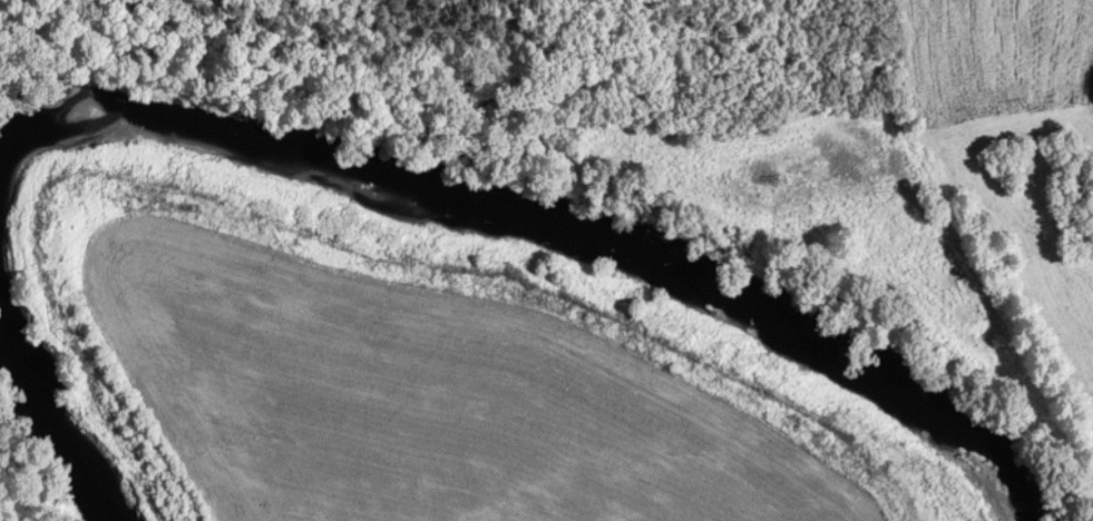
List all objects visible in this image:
river: (529, 210)
road: (964, 255)
river: (57, 396)

